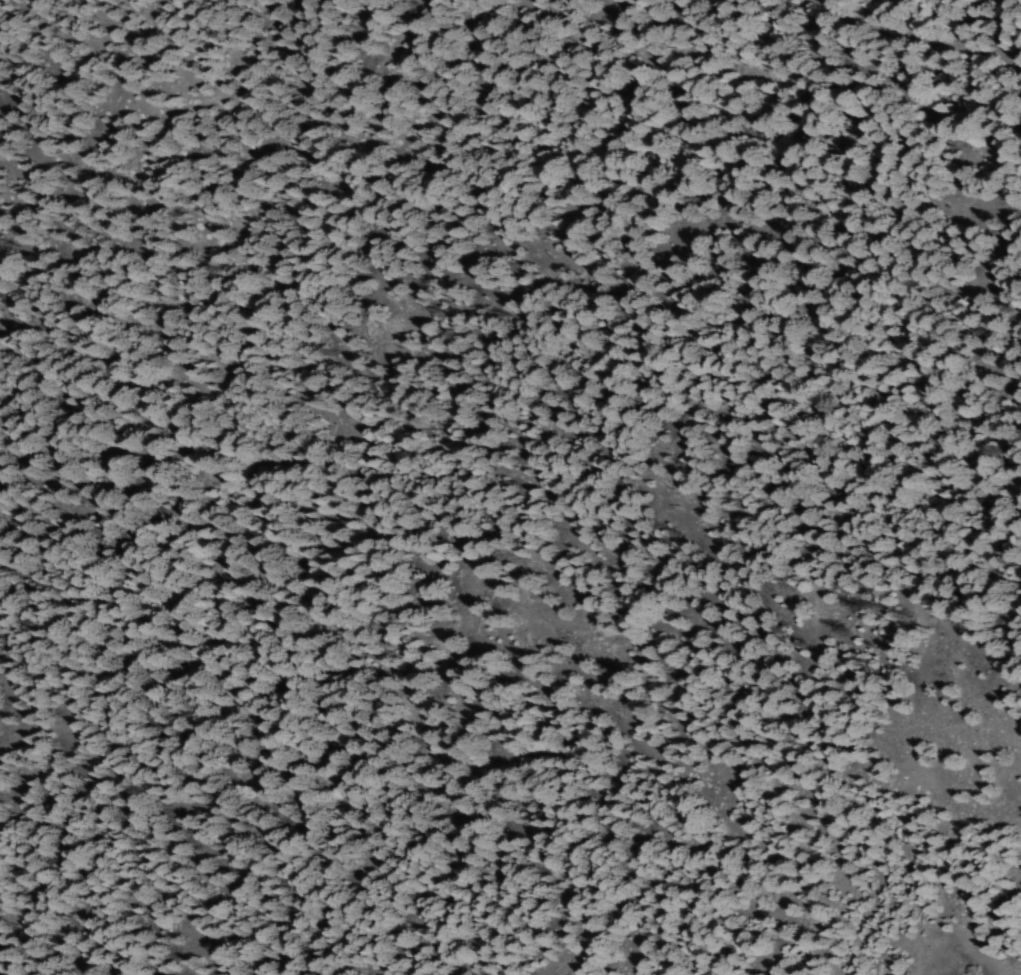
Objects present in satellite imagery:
road: (977, 11)

